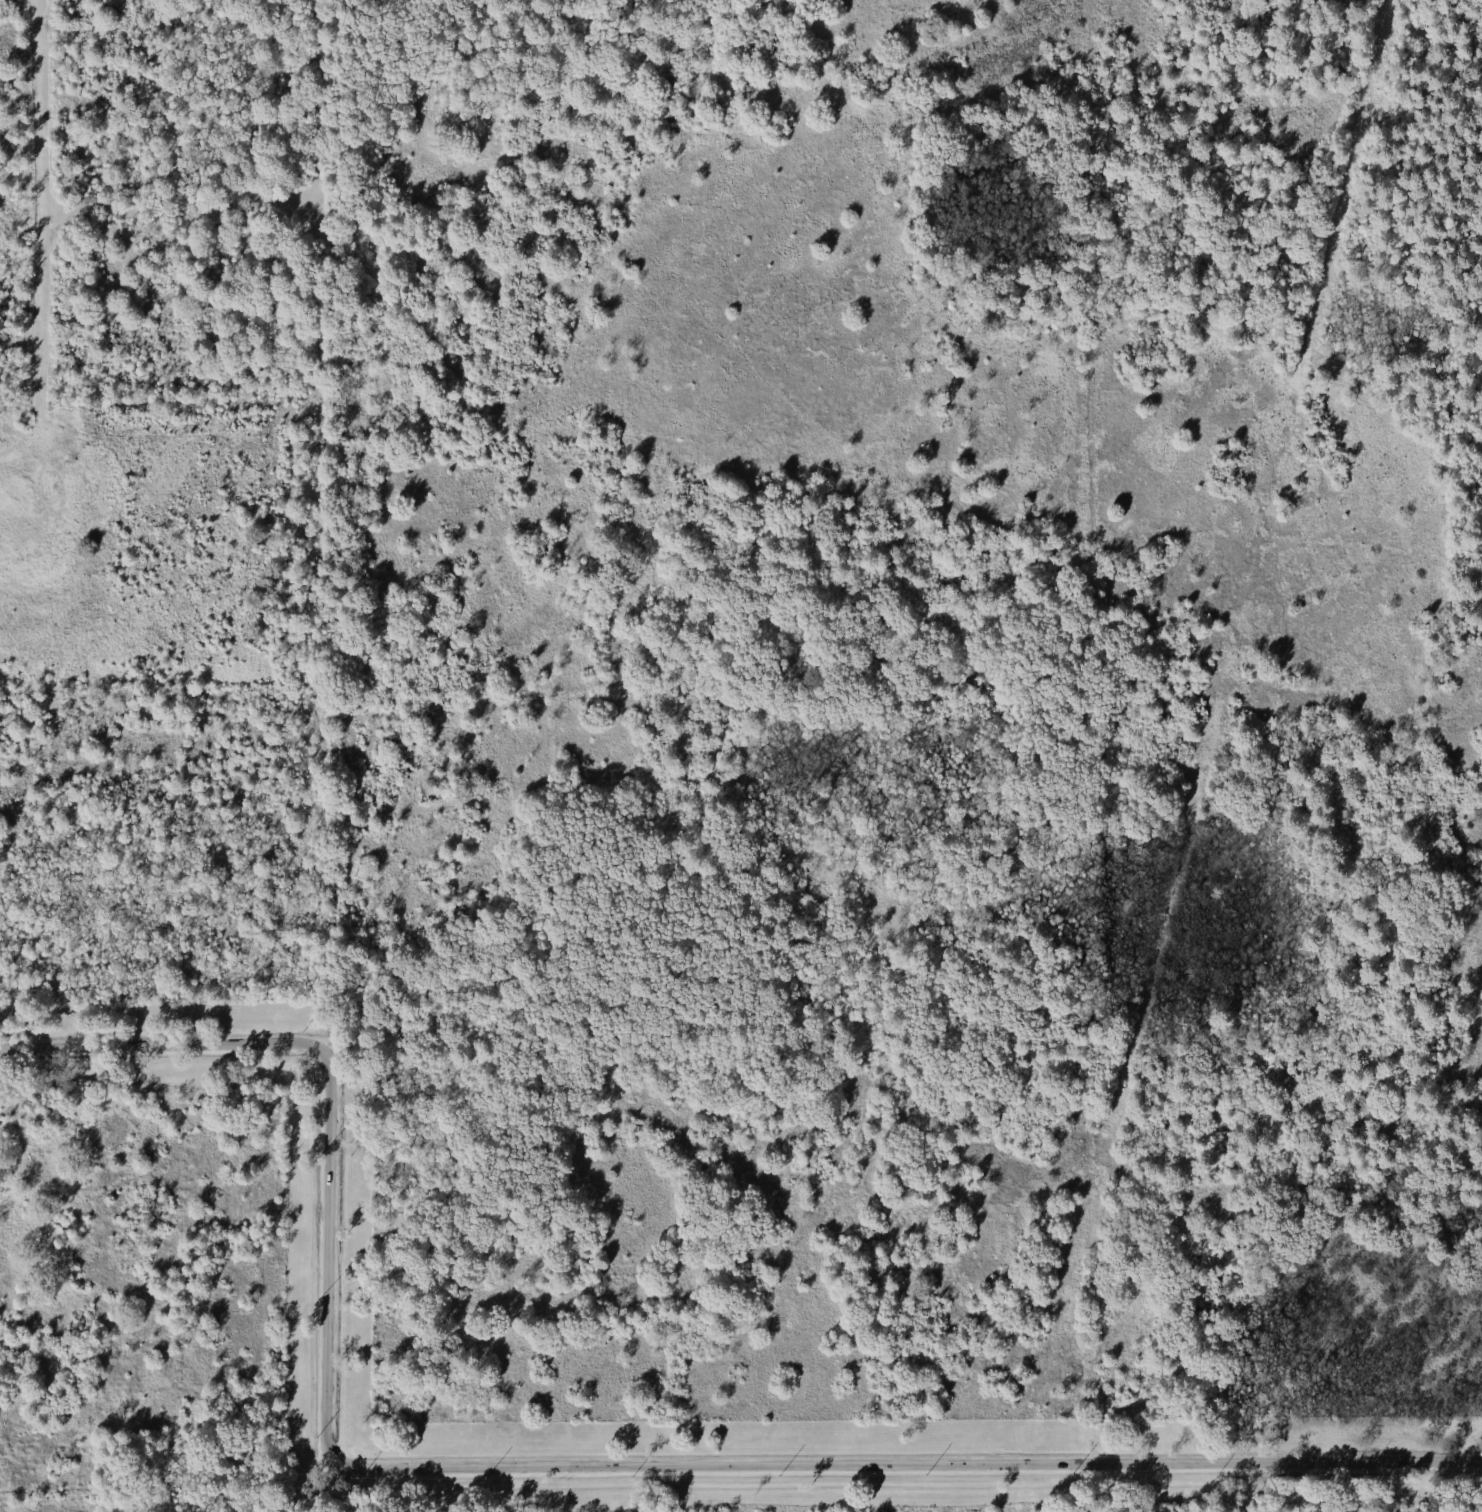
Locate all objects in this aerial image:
road: (540, 1466)

